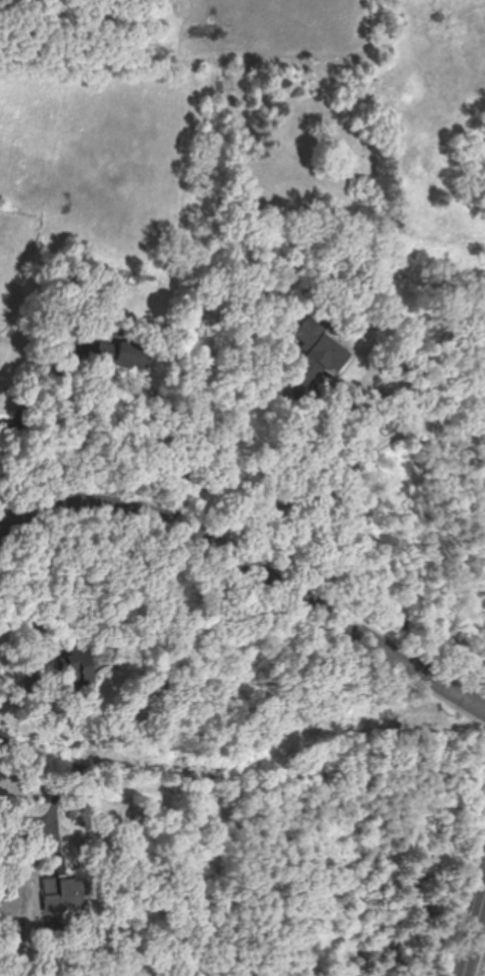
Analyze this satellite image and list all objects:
building: (122, 353)
building: (314, 364)
road: (20, 411)
road: (330, 481)
road: (254, 565)
building: (77, 658)
road: (54, 774)
building: (62, 888)
road: (478, 949)

